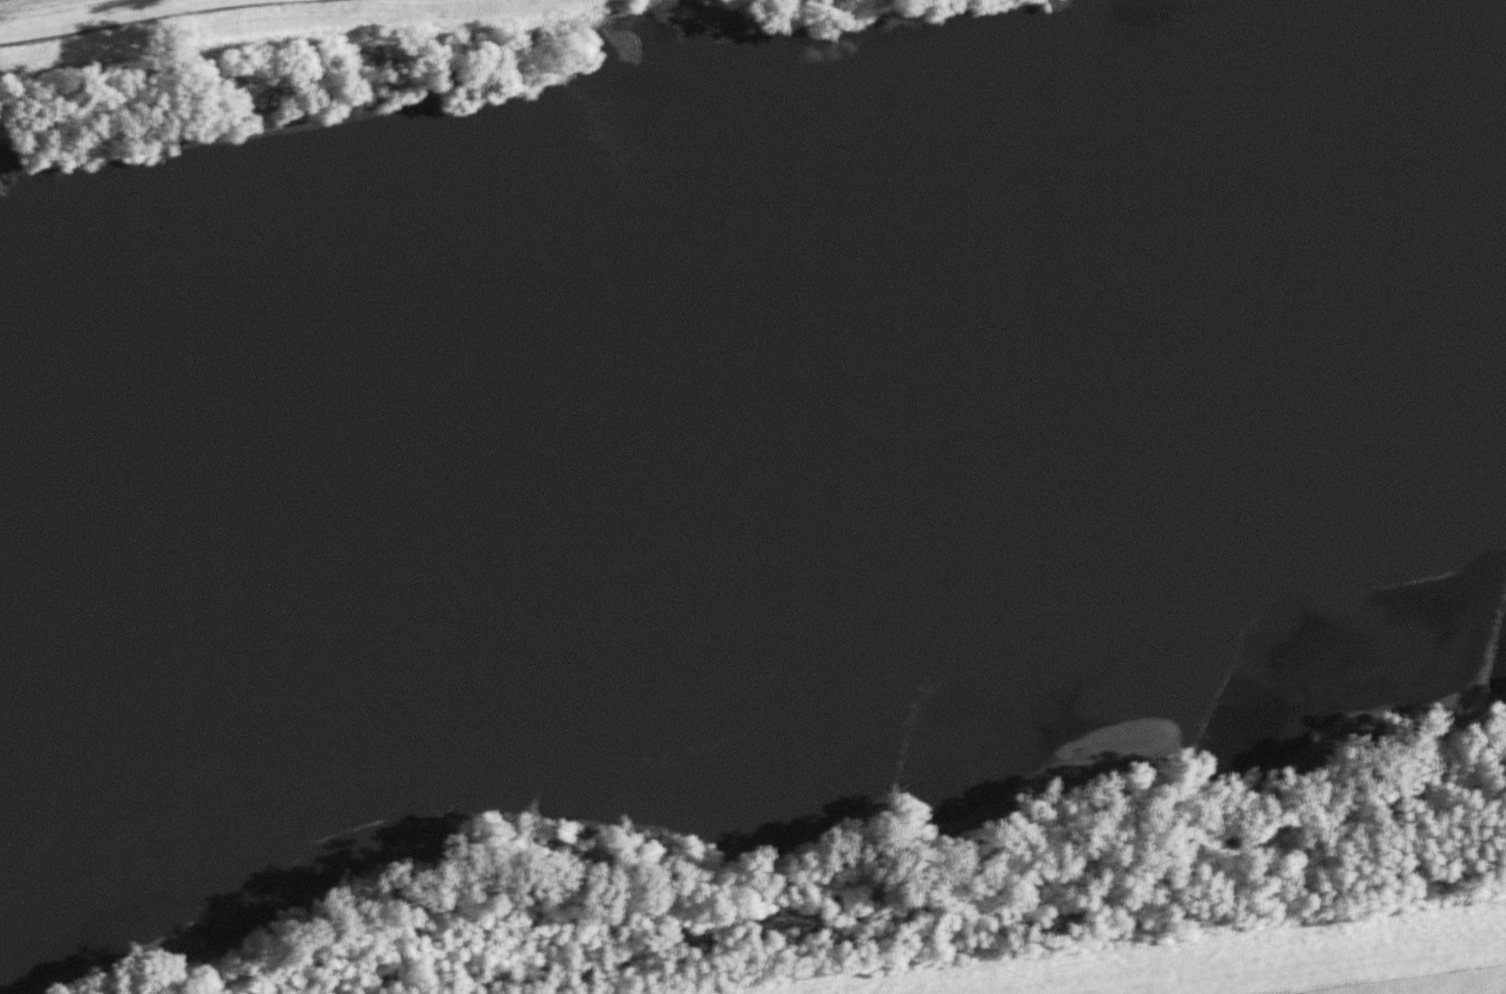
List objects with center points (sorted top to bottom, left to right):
river: (753, 500)

